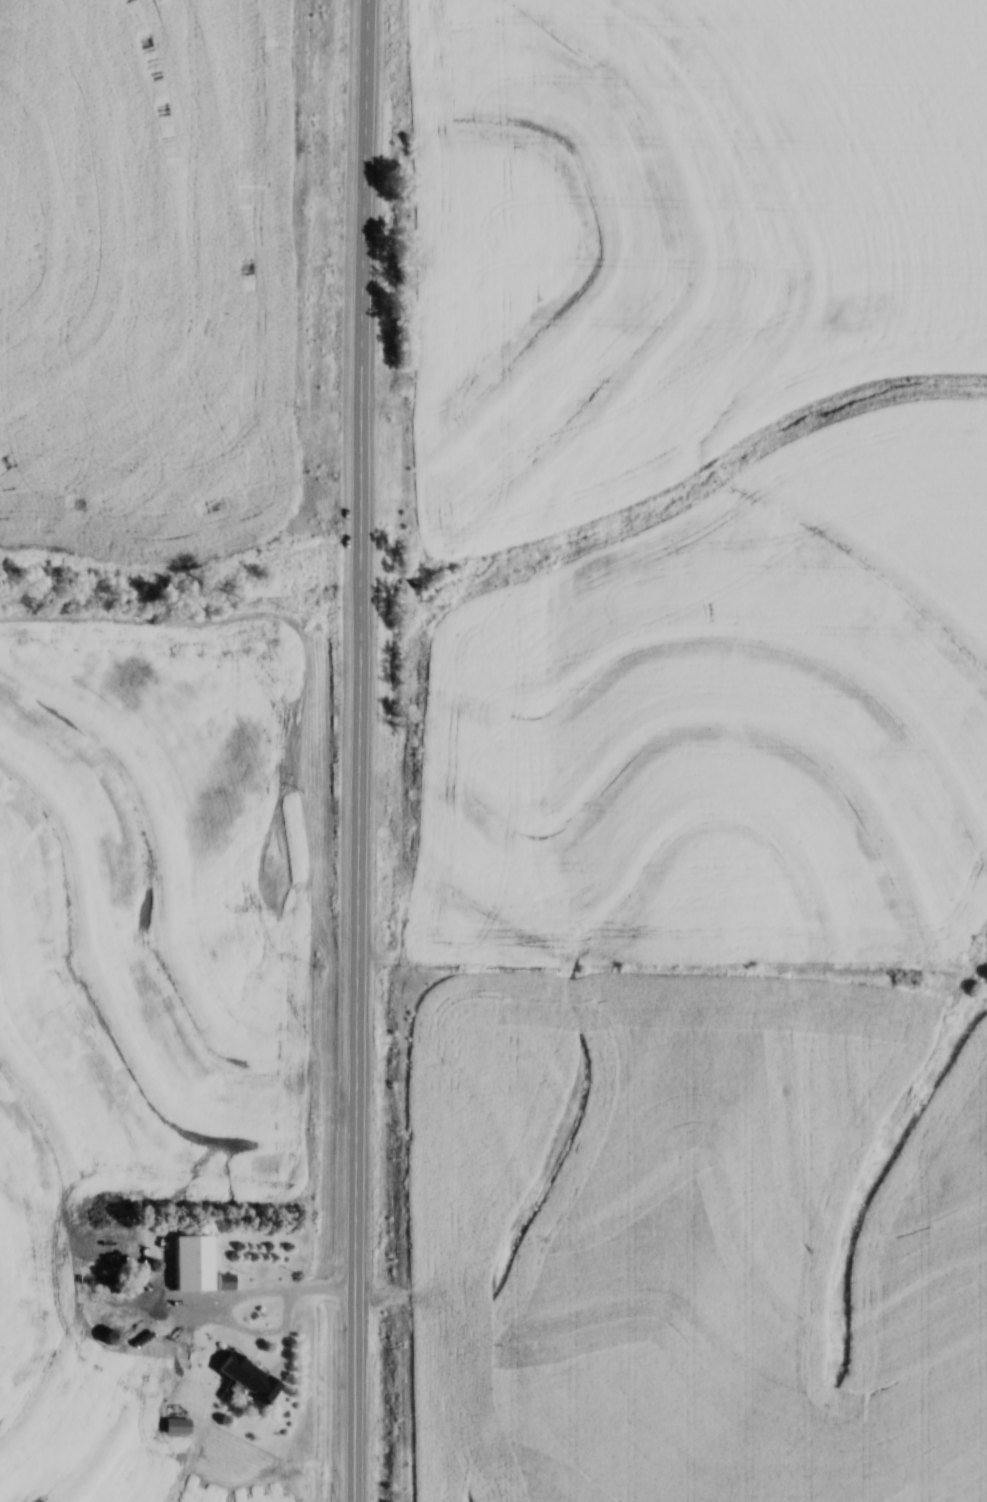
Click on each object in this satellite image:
road: (356, 750)
building: (107, 1252)
building: (196, 1262)
building: (116, 1336)
building: (251, 1375)
building: (179, 1425)

